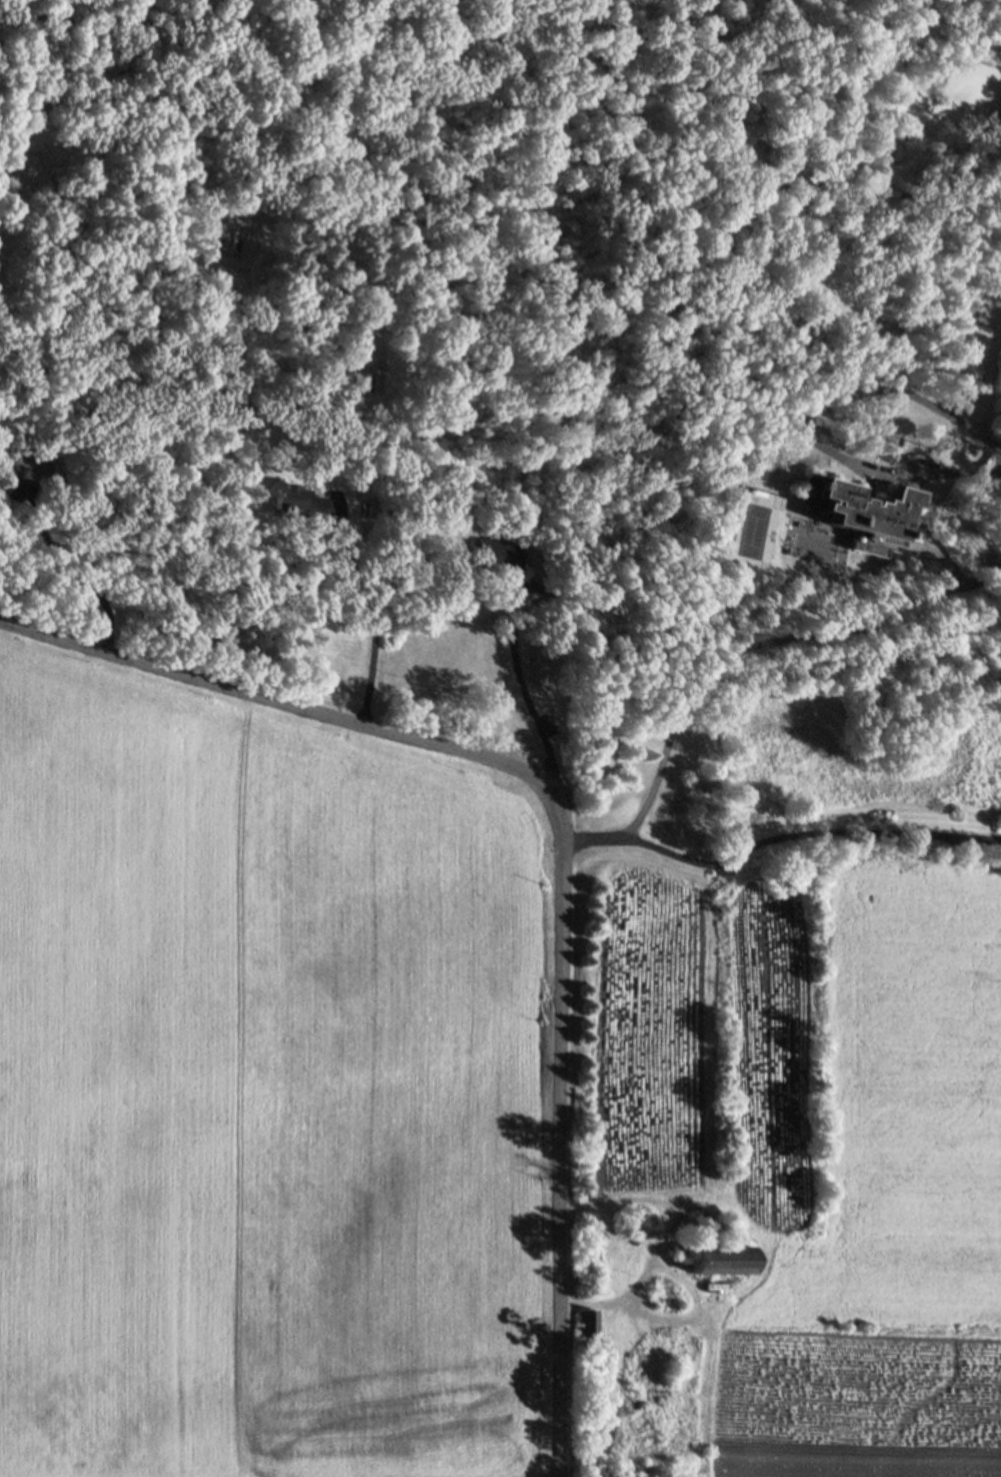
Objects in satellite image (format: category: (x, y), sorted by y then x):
building: (2, 338)
building: (358, 382)
building: (27, 464)
building: (294, 501)
building: (860, 511)
building: (811, 546)
building: (495, 553)
road: (72, 569)
building: (547, 591)
road: (370, 614)
road: (748, 646)
road: (523, 692)
road: (777, 838)
road: (565, 843)
crop: (264, 1097)
crop: (785, 1175)
building: (719, 1259)
building: (664, 1296)
building: (586, 1330)

